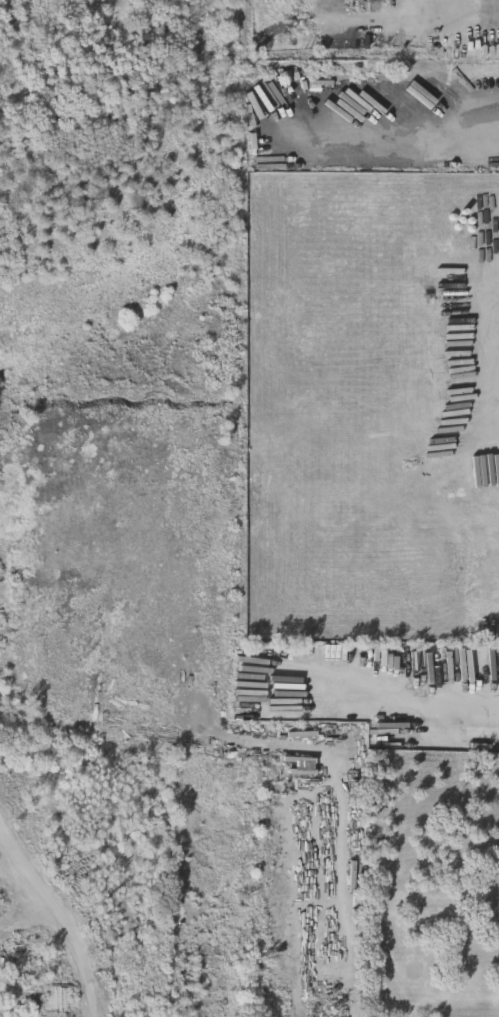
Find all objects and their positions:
road: (487, 118)
building: (474, 493)
road: (427, 697)
road: (60, 913)

